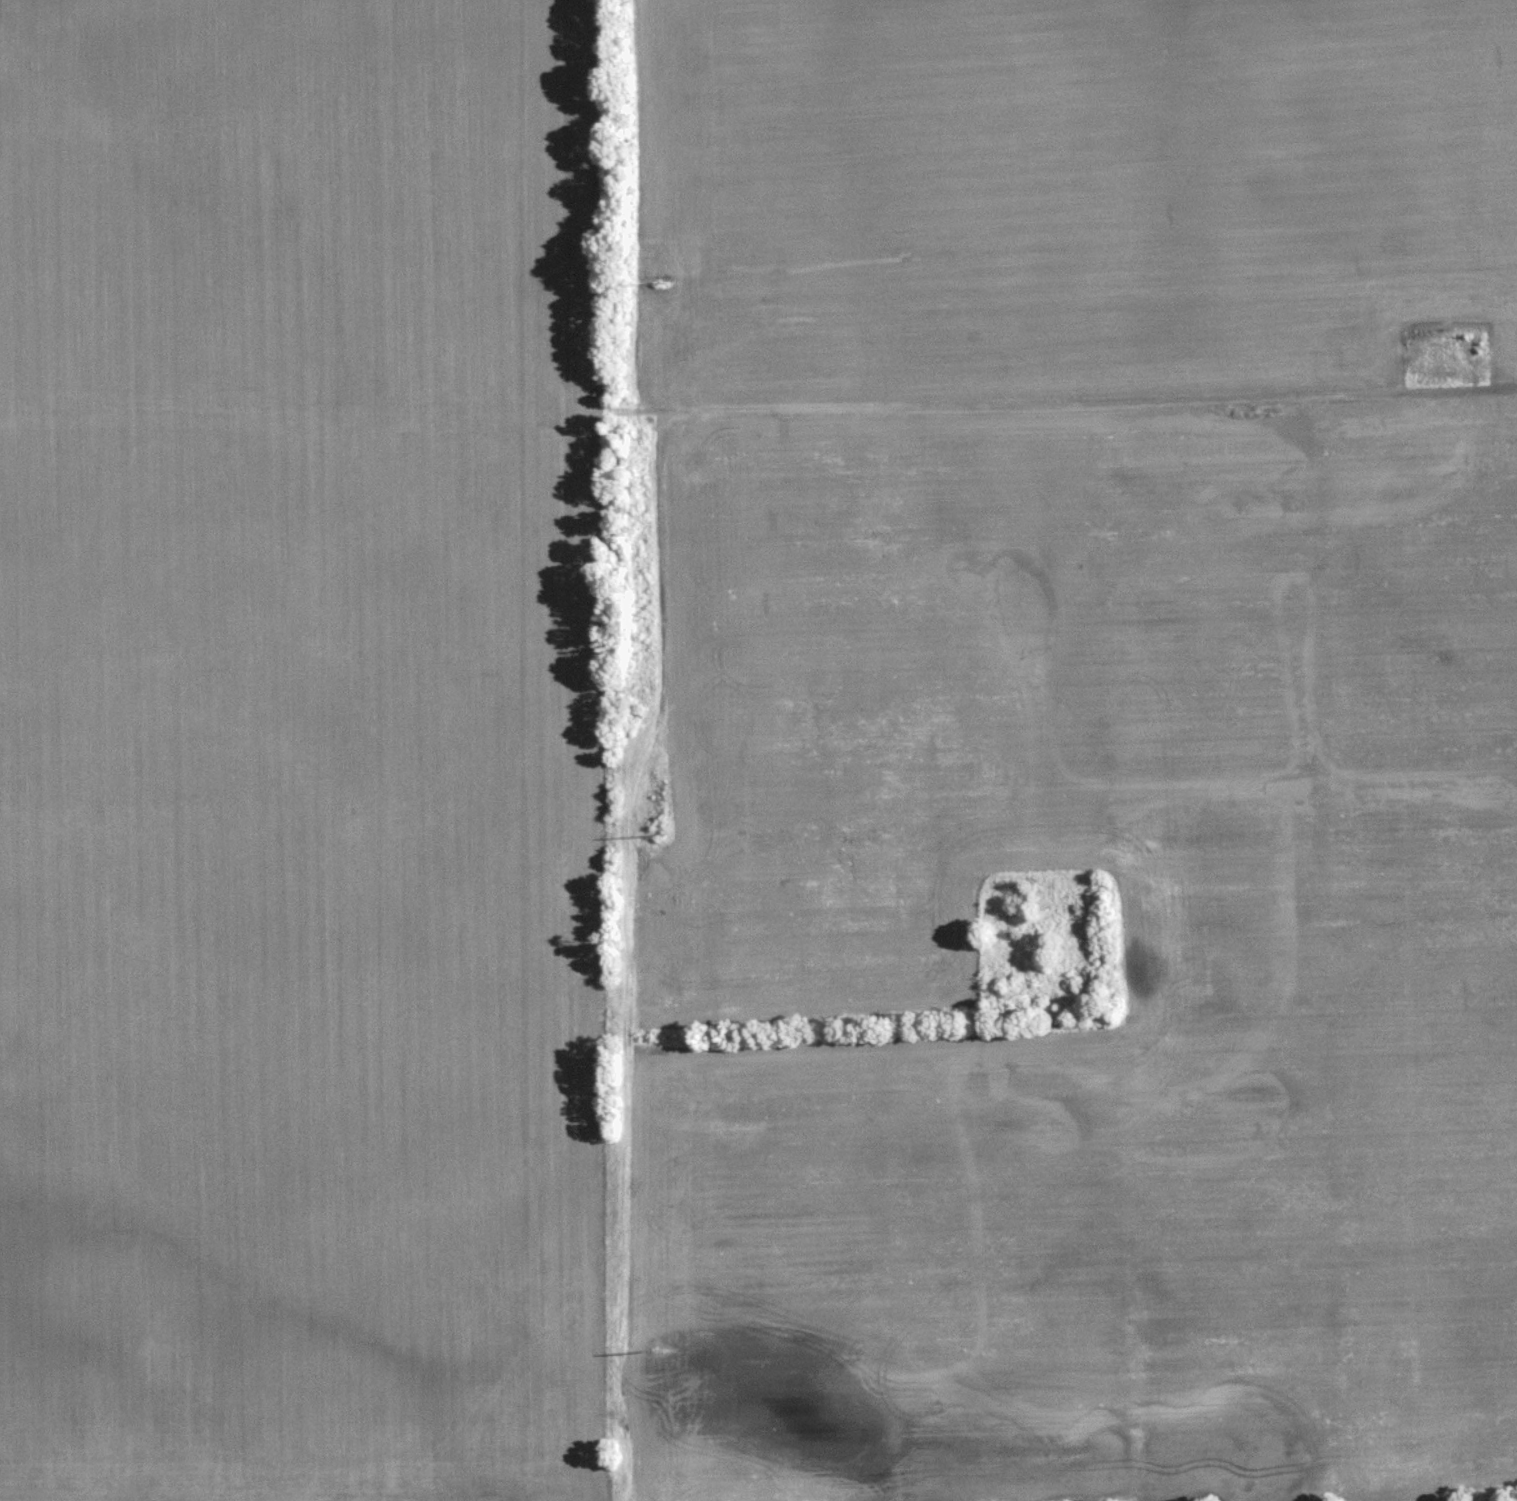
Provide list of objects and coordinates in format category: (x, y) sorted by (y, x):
power tower: (673, 281)
power tower: (670, 836)
power tower: (670, 1352)

